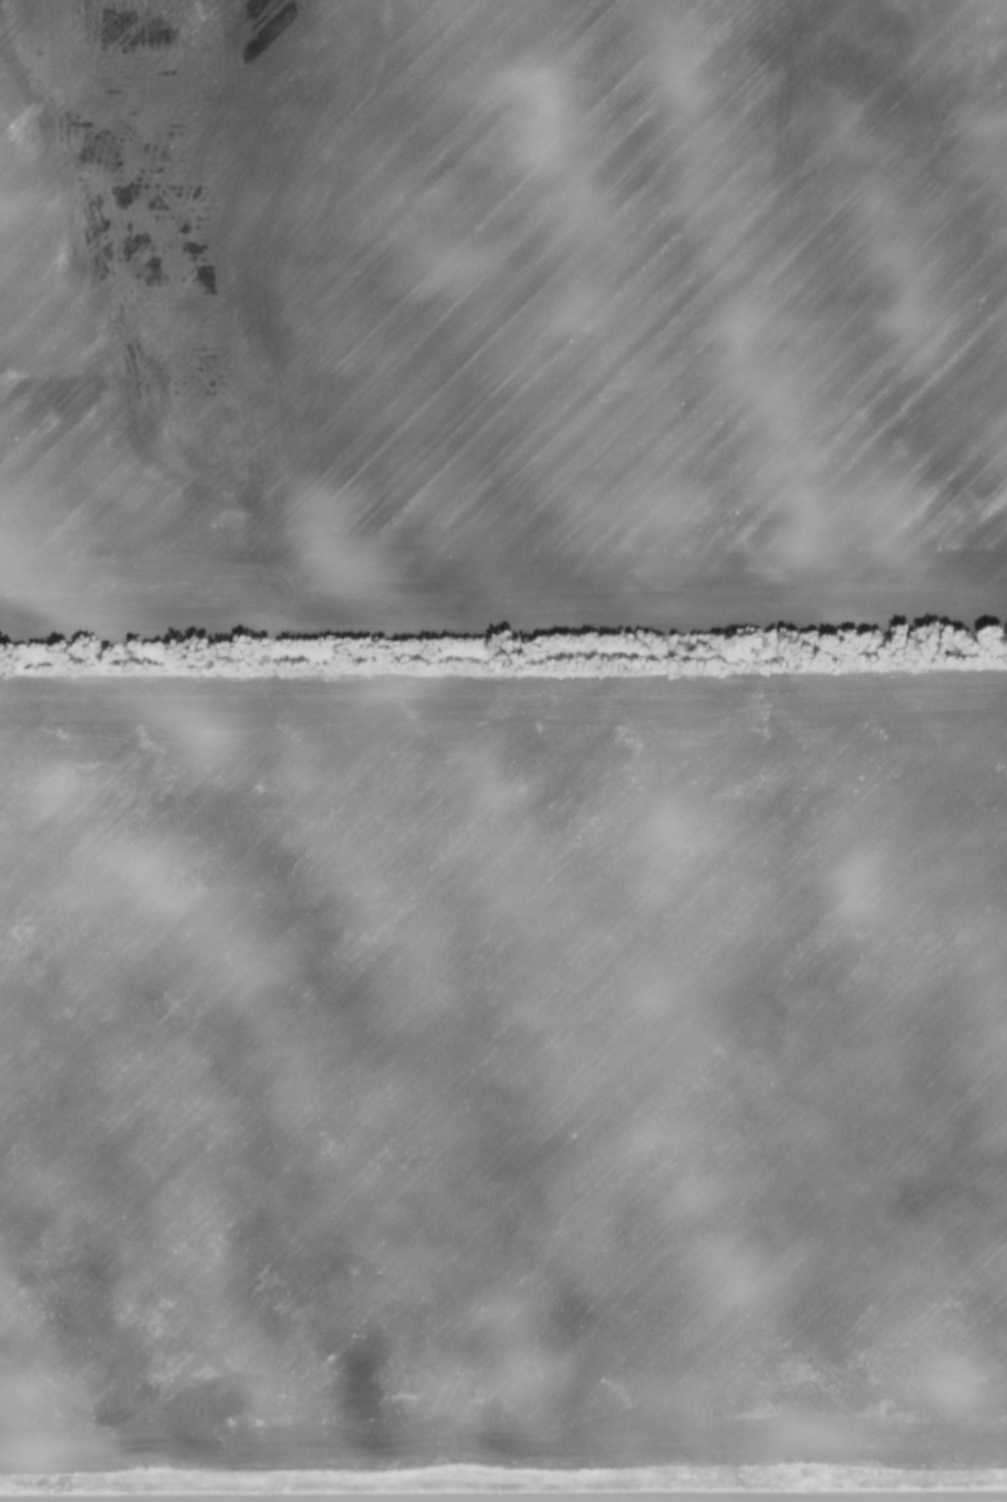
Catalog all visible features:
road: (503, 1496)

